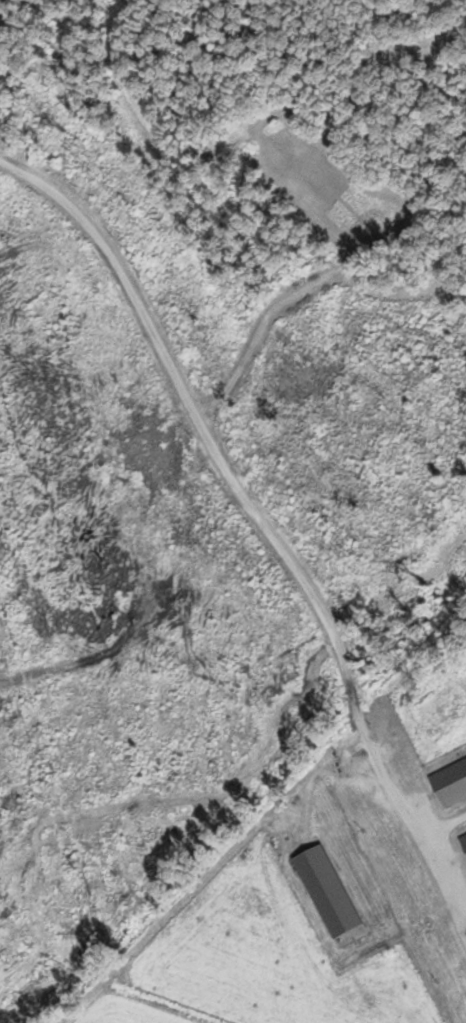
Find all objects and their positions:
building: (448, 774)
building: (462, 839)
building: (326, 891)

